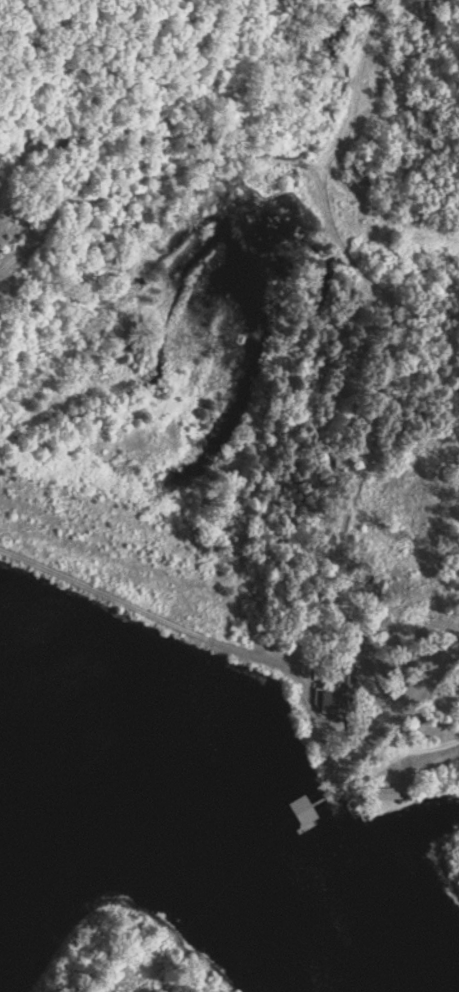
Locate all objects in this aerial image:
dam: (137, 618)
building: (347, 686)
building: (392, 791)
building: (311, 809)

